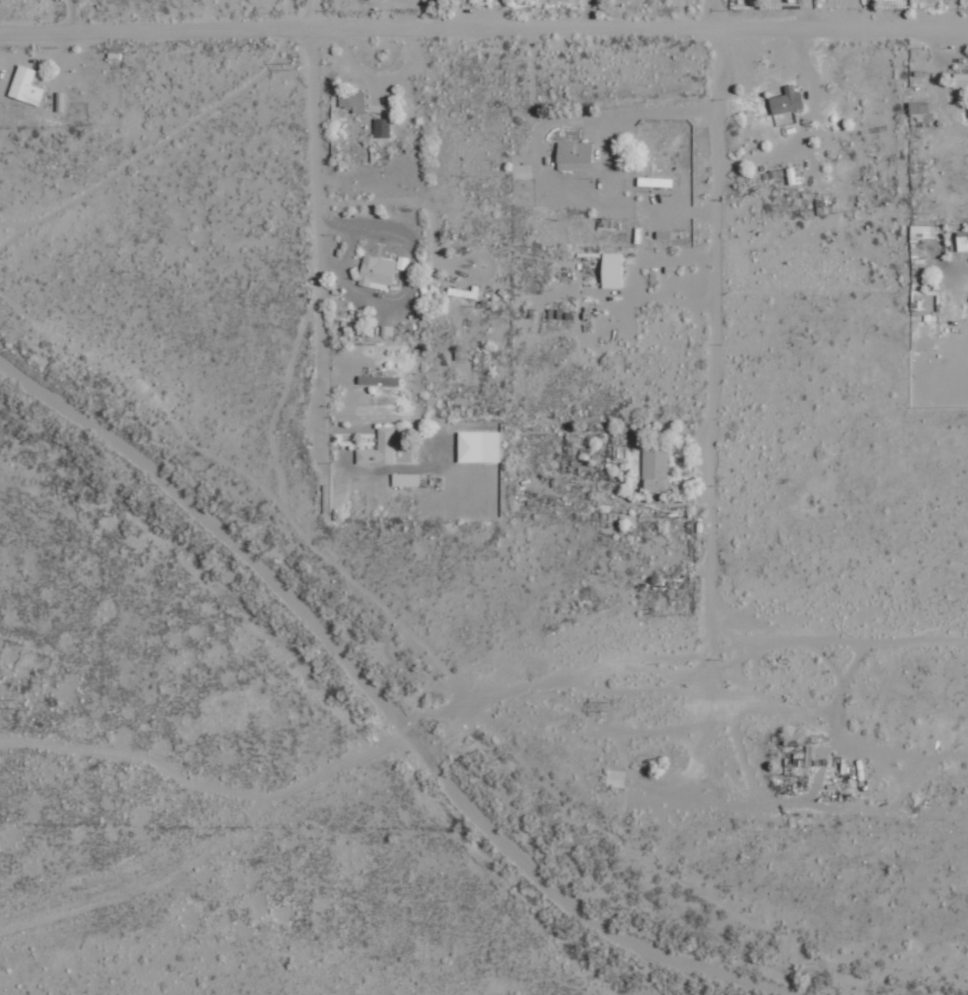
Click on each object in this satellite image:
road: (714, 12)
road: (483, 27)
building: (960, 80)
building: (25, 86)
building: (60, 101)
building: (786, 102)
building: (918, 108)
building: (381, 128)
building: (574, 156)
road: (317, 229)
building: (923, 233)
building: (962, 241)
building: (612, 270)
building: (376, 272)
building: (465, 292)
building: (379, 381)
building: (478, 447)
building: (380, 449)
building: (572, 452)
building: (655, 470)
building: (405, 480)
river: (373, 694)

